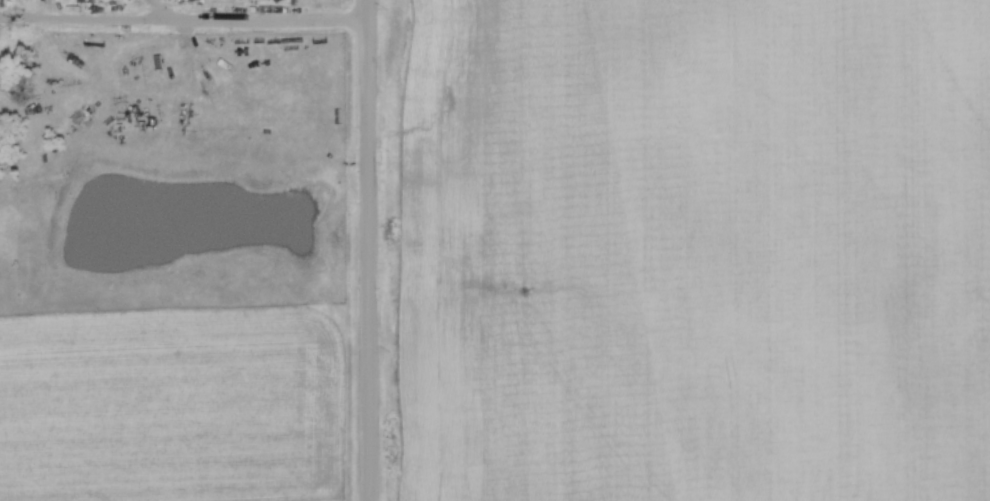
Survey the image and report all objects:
road: (182, 27)
road: (365, 250)

